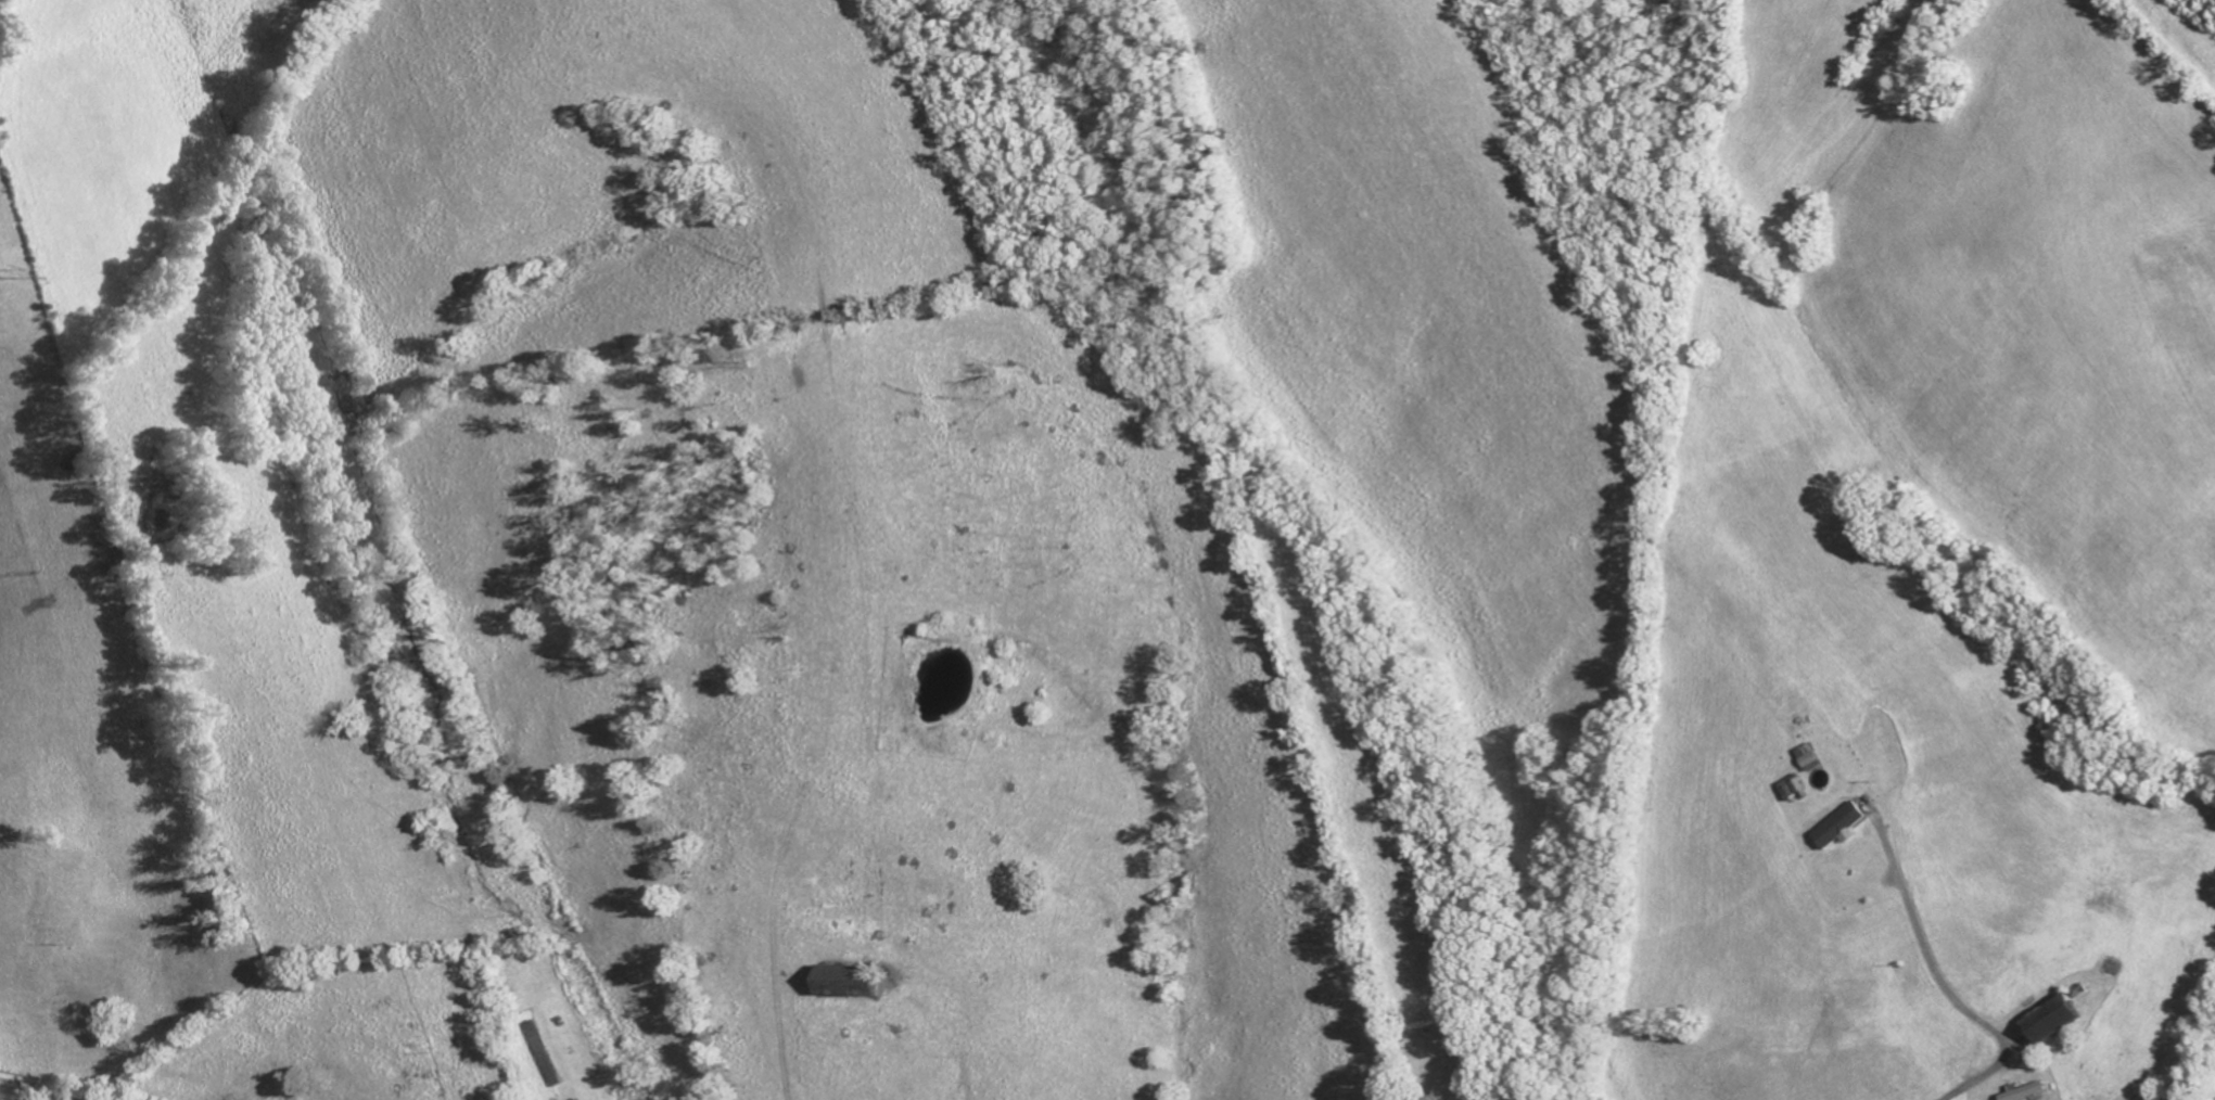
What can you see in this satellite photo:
building: (1844, 823)
building: (2065, 1012)
road: (2190, 1025)
park: (1443, 1060)
road: (25, 1093)

